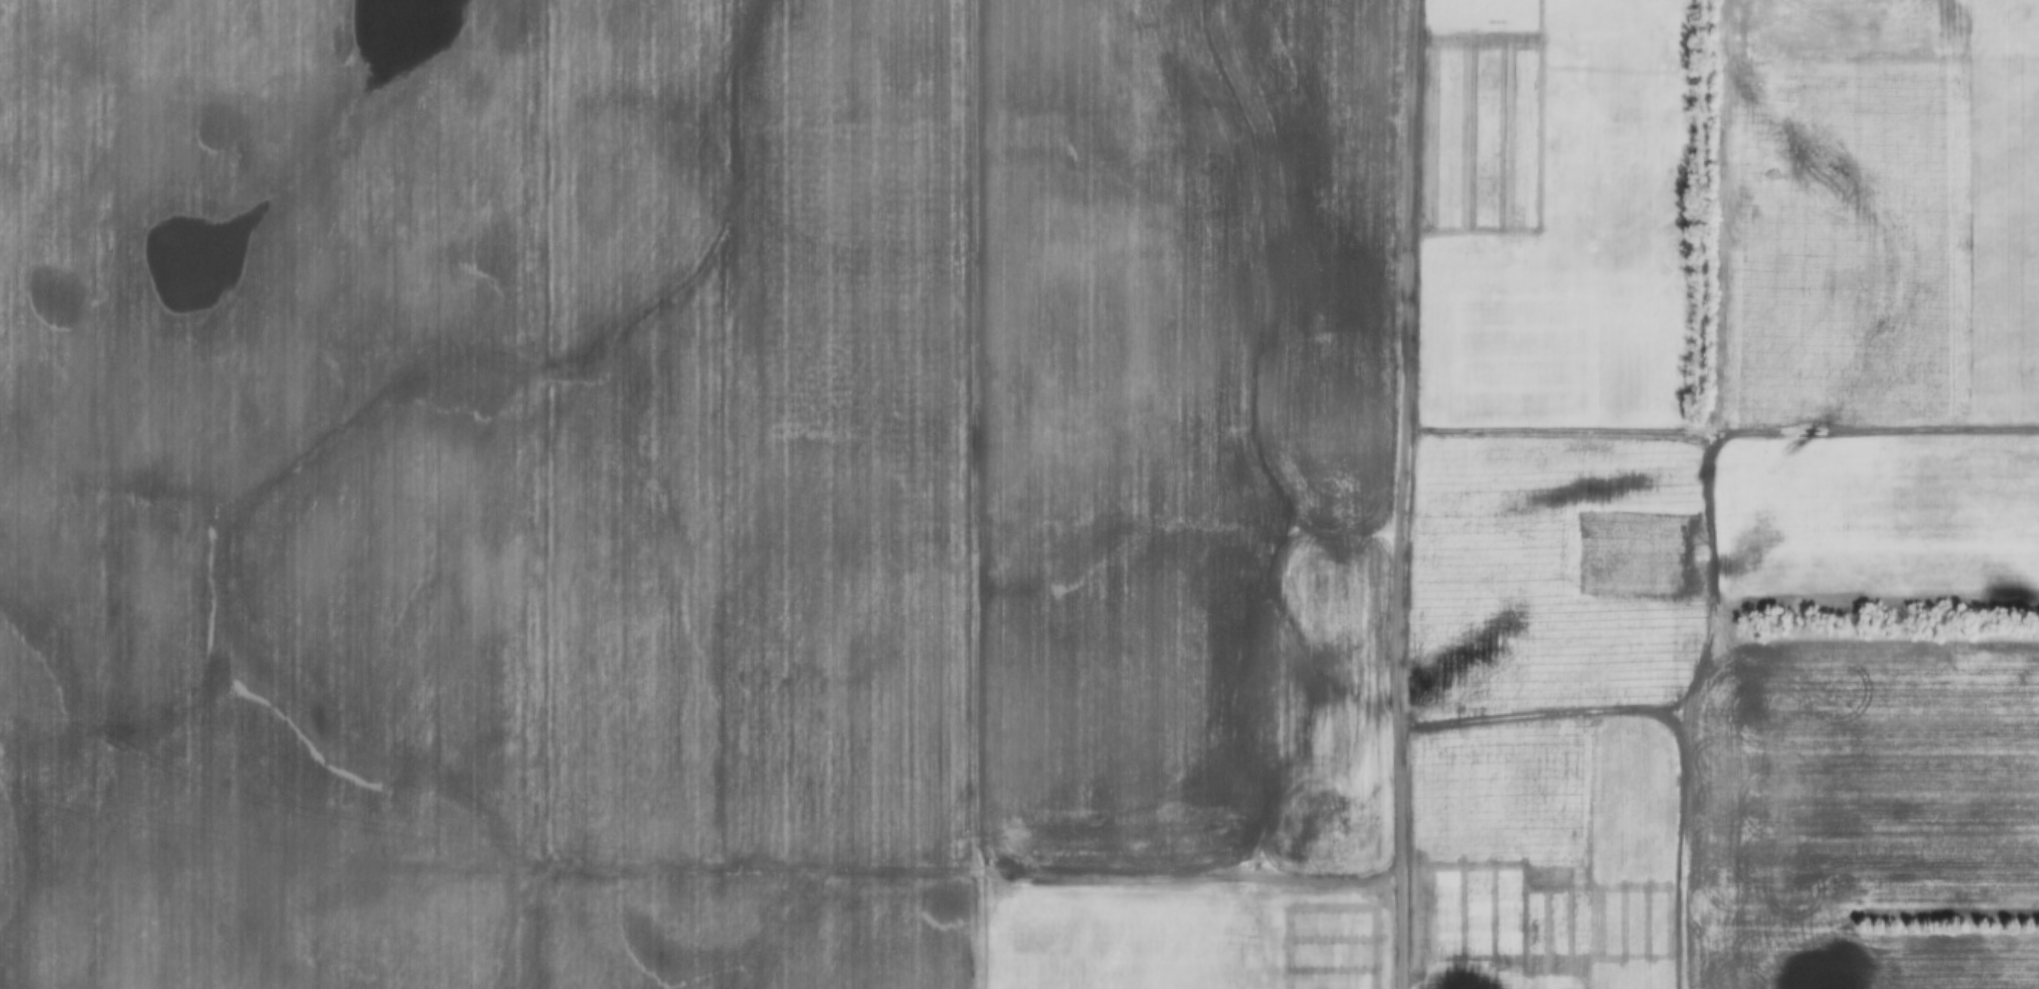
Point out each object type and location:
road: (105, 494)
road: (1407, 494)

